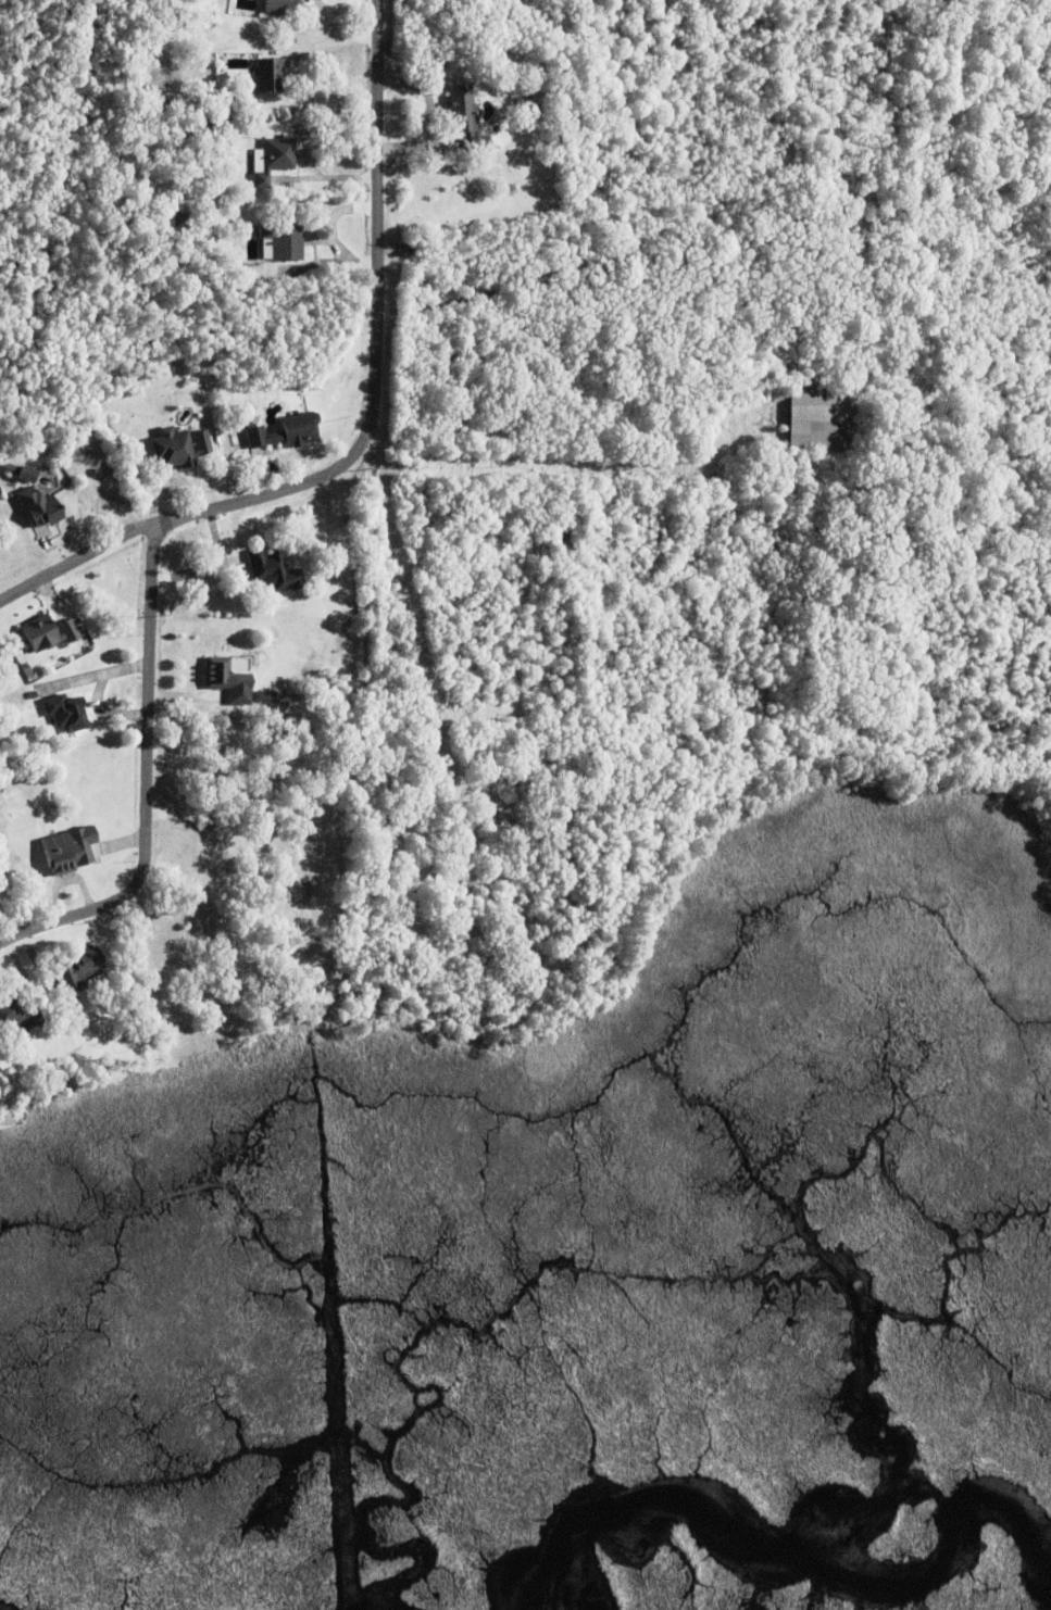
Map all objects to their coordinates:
building: (280, 7)
building: (180, 21)
building: (173, 73)
building: (268, 75)
building: (170, 108)
building: (464, 114)
building: (184, 121)
building: (243, 124)
building: (203, 125)
building: (273, 160)
building: (238, 215)
building: (180, 221)
building: (283, 240)
road: (377, 336)
building: (819, 418)
building: (287, 431)
building: (178, 448)
building: (22, 473)
building: (38, 507)
building: (564, 542)
building: (273, 571)
building: (48, 633)
building: (18, 656)
building: (75, 658)
building: (34, 664)
building: (229, 680)
road: (150, 692)
building: (262, 696)
building: (65, 713)
building: (188, 817)
building: (68, 851)
building: (79, 970)
building: (16, 1015)

